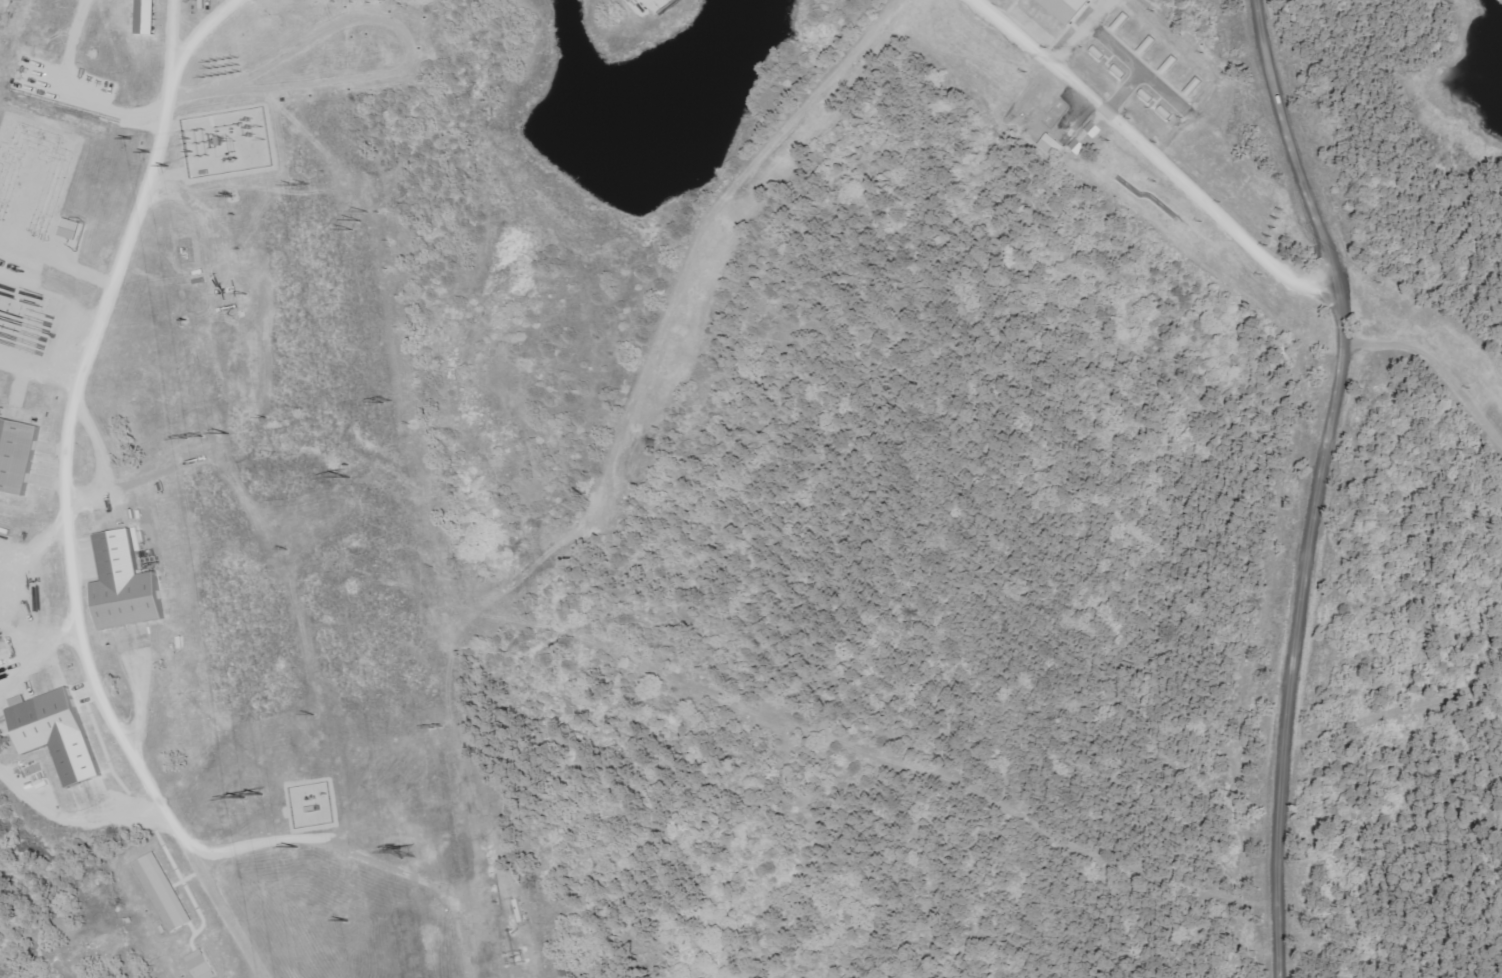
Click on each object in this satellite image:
building: (1067, 8)
road: (170, 35)
power substation: (225, 142)
building: (1055, 145)
building: (1080, 146)
road: (1150, 153)
building: (72, 229)
building: (18, 455)
road: (1321, 483)
road: (61, 494)
building: (129, 584)
building: (60, 733)
building: (165, 892)
building: (203, 965)

